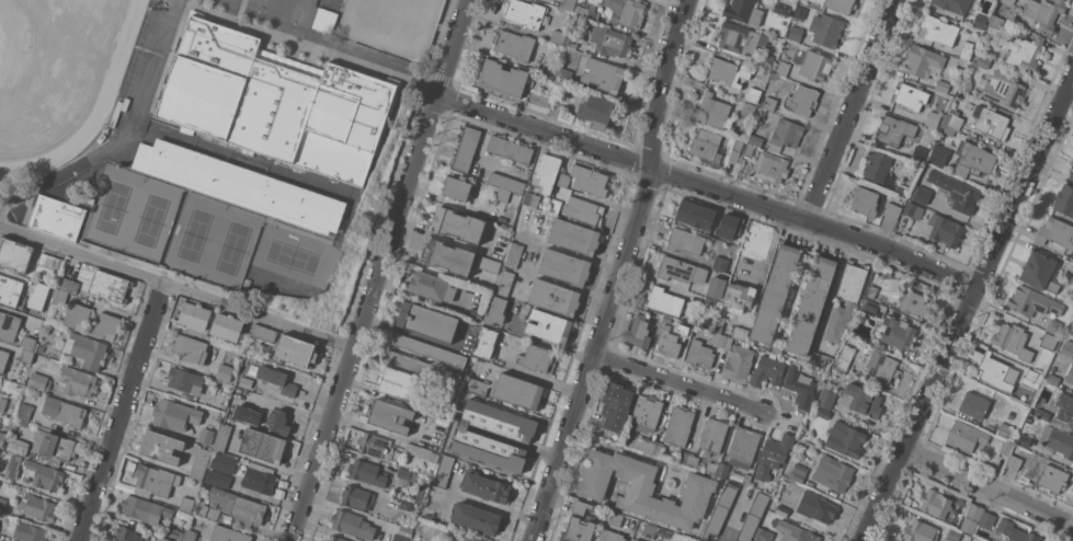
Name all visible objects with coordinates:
building: (1008, 1)
building: (569, 4)
building: (954, 4)
building: (841, 5)
building: (780, 7)
building: (586, 9)
building: (743, 11)
building: (627, 12)
building: (799, 12)
building: (525, 13)
building: (1041, 14)
building: (324, 19)
building: (980, 21)
building: (995, 24)
building: (825, 30)
building: (938, 30)
building: (796, 33)
building: (558, 36)
building: (738, 37)
building: (612, 41)
building: (571, 42)
building: (513, 44)
building: (967, 50)
building: (1024, 53)
building: (766, 60)
building: (923, 61)
building: (983, 61)
building: (815, 66)
building: (781, 68)
building: (548, 69)
building: (726, 72)
building: (563, 73)
building: (603, 73)
building: (503, 79)
building: (943, 84)
building: (1004, 89)
building: (753, 94)
building: (911, 95)
building: (539, 99)
building: (802, 101)
building: (276, 102)
building: (767, 104)
building: (556, 107)
building: (747, 108)
road: (852, 110)
building: (596, 111)
building: (711, 111)
building: (758, 117)
building: (933, 118)
building: (991, 122)
building: (951, 124)
building: (893, 130)
road: (122, 133)
building: (785, 135)
building: (755, 139)
building: (706, 143)
building: (735, 143)
building: (465, 148)
building: (510, 148)
building: (749, 149)
building: (920, 153)
building: (939, 154)
building: (973, 159)
building: (732, 160)
building: (878, 164)
building: (770, 168)
building: (1071, 169)
building: (548, 171)
building: (563, 179)
building: (590, 180)
building: (506, 182)
building: (241, 185)
building: (457, 187)
road: (708, 187)
building: (902, 189)
building: (956, 191)
building: (503, 194)
building: (921, 194)
building: (530, 198)
building: (1064, 199)
building: (866, 200)
building: (555, 206)
building: (892, 209)
building: (583, 210)
building: (913, 210)
building: (696, 215)
building: (57, 217)
building: (458, 225)
building: (533, 225)
building: (729, 226)
building: (946, 231)
building: (1055, 232)
building: (574, 237)
building: (502, 240)
building: (686, 241)
building: (14, 254)
building: (513, 254)
building: (448, 256)
building: (52, 262)
building: (721, 263)
building: (488, 264)
building: (89, 266)
building: (564, 267)
road: (380, 269)
building: (681, 269)
building: (1039, 270)
road: (623, 272)
building: (1069, 277)
building: (505, 283)
building: (69, 285)
building: (110, 286)
road: (178, 286)
building: (432, 286)
building: (717, 287)
building: (43, 289)
building: (10, 290)
building: (871, 291)
building: (776, 293)
building: (60, 297)
building: (555, 297)
building: (739, 297)
building: (846, 299)
building: (664, 300)
building: (1032, 301)
building: (710, 302)
building: (913, 302)
building: (811, 304)
building: (874, 309)
road: (963, 309)
building: (495, 310)
building: (523, 311)
building: (476, 314)
building: (78, 315)
building: (195, 315)
building: (426, 321)
building: (719, 323)
building: (9, 325)
building: (107, 326)
building: (227, 326)
building: (549, 326)
building: (1054, 326)
building: (686, 329)
building: (640, 330)
building: (264, 333)
building: (740, 333)
building: (899, 333)
building: (1011, 337)
road: (543, 339)
building: (721, 339)
building: (1049, 341)
building: (666, 342)
building: (28, 343)
building: (487, 343)
building: (41, 346)
building: (191, 347)
building: (1068, 347)
building: (777, 348)
building: (87, 349)
building: (296, 349)
building: (429, 349)
building: (700, 354)
building: (845, 355)
building: (26, 356)
building: (3, 358)
building: (538, 358)
building: (821, 359)
building: (739, 362)
building: (882, 366)
building: (423, 367)
building: (253, 369)
building: (767, 370)
building: (225, 371)
building: (994, 371)
building: (1070, 375)
building: (1032, 377)
building: (185, 379)
building: (277, 379)
building: (1052, 379)
building: (39, 380)
building: (78, 381)
building: (246, 381)
building: (400, 382)
road: (677, 382)
building: (476, 385)
building: (801, 387)
building: (517, 390)
building: (252, 396)
building: (826, 398)
building: (861, 400)
building: (2, 403)
building: (974, 405)
building: (1065, 407)
building: (24, 411)
building: (65, 411)
building: (614, 411)
road: (123, 412)
building: (823, 412)
building: (647, 413)
building: (1041, 413)
building: (175, 414)
building: (248, 414)
building: (390, 415)
building: (278, 422)
building: (678, 426)
building: (1007, 430)
building: (2, 434)
building: (206, 435)
building: (470, 435)
building: (715, 435)
building: (966, 436)
building: (222, 437)
building: (845, 438)
building: (1025, 439)
building: (1058, 439)
building: (16, 442)
building: (263, 445)
building: (644, 445)
building: (744, 445)
building: (53, 446)
building: (161, 446)
building: (375, 446)
building: (1006, 447)
building: (1023, 449)
building: (0, 450)
building: (422, 451)
building: (774, 454)
building: (682, 457)
building: (692, 460)
building: (1014, 460)
building: (225, 462)
building: (199, 463)
building: (13, 467)
building: (711, 467)
building: (722, 469)
building: (443, 471)
building: (366, 472)
building: (799, 472)
building: (1, 473)
building: (833, 473)
building: (44, 474)
building: (1049, 474)
building: (1027, 475)
building: (406, 476)
building: (259, 477)
building: (746, 477)
building: (156, 479)
building: (217, 479)
building: (487, 486)
building: (644, 488)
road: (988, 488)
building: (422, 491)
building: (142, 492)
building: (356, 496)
building: (398, 500)
building: (2, 503)
road: (486, 503)
building: (935, 503)
building: (186, 504)
building: (237, 504)
building: (817, 506)
building: (39, 507)
building: (582, 507)
building: (721, 508)
building: (145, 509)
building: (203, 509)
building: (783, 510)
building: (975, 511)
building: (213, 513)
building: (477, 516)
building: (753, 517)
building: (616, 518)
building: (988, 520)
building: (353, 525)
building: (969, 525)
building: (175, 530)
building: (579, 530)
building: (650, 530)
building: (921, 531)
building: (30, 532)
building: (765, 532)
building: (1013, 532)
building: (404, 533)
building: (128, 534)
building: (190, 534)
building: (228, 534)
building: (803, 534)
building: (952, 534)
building: (610, 536)
building: (467, 538)
building: (680, 538)
building: (164, 539)
building: (336, 539)
building: (326, 540)
building: (637, 540)

